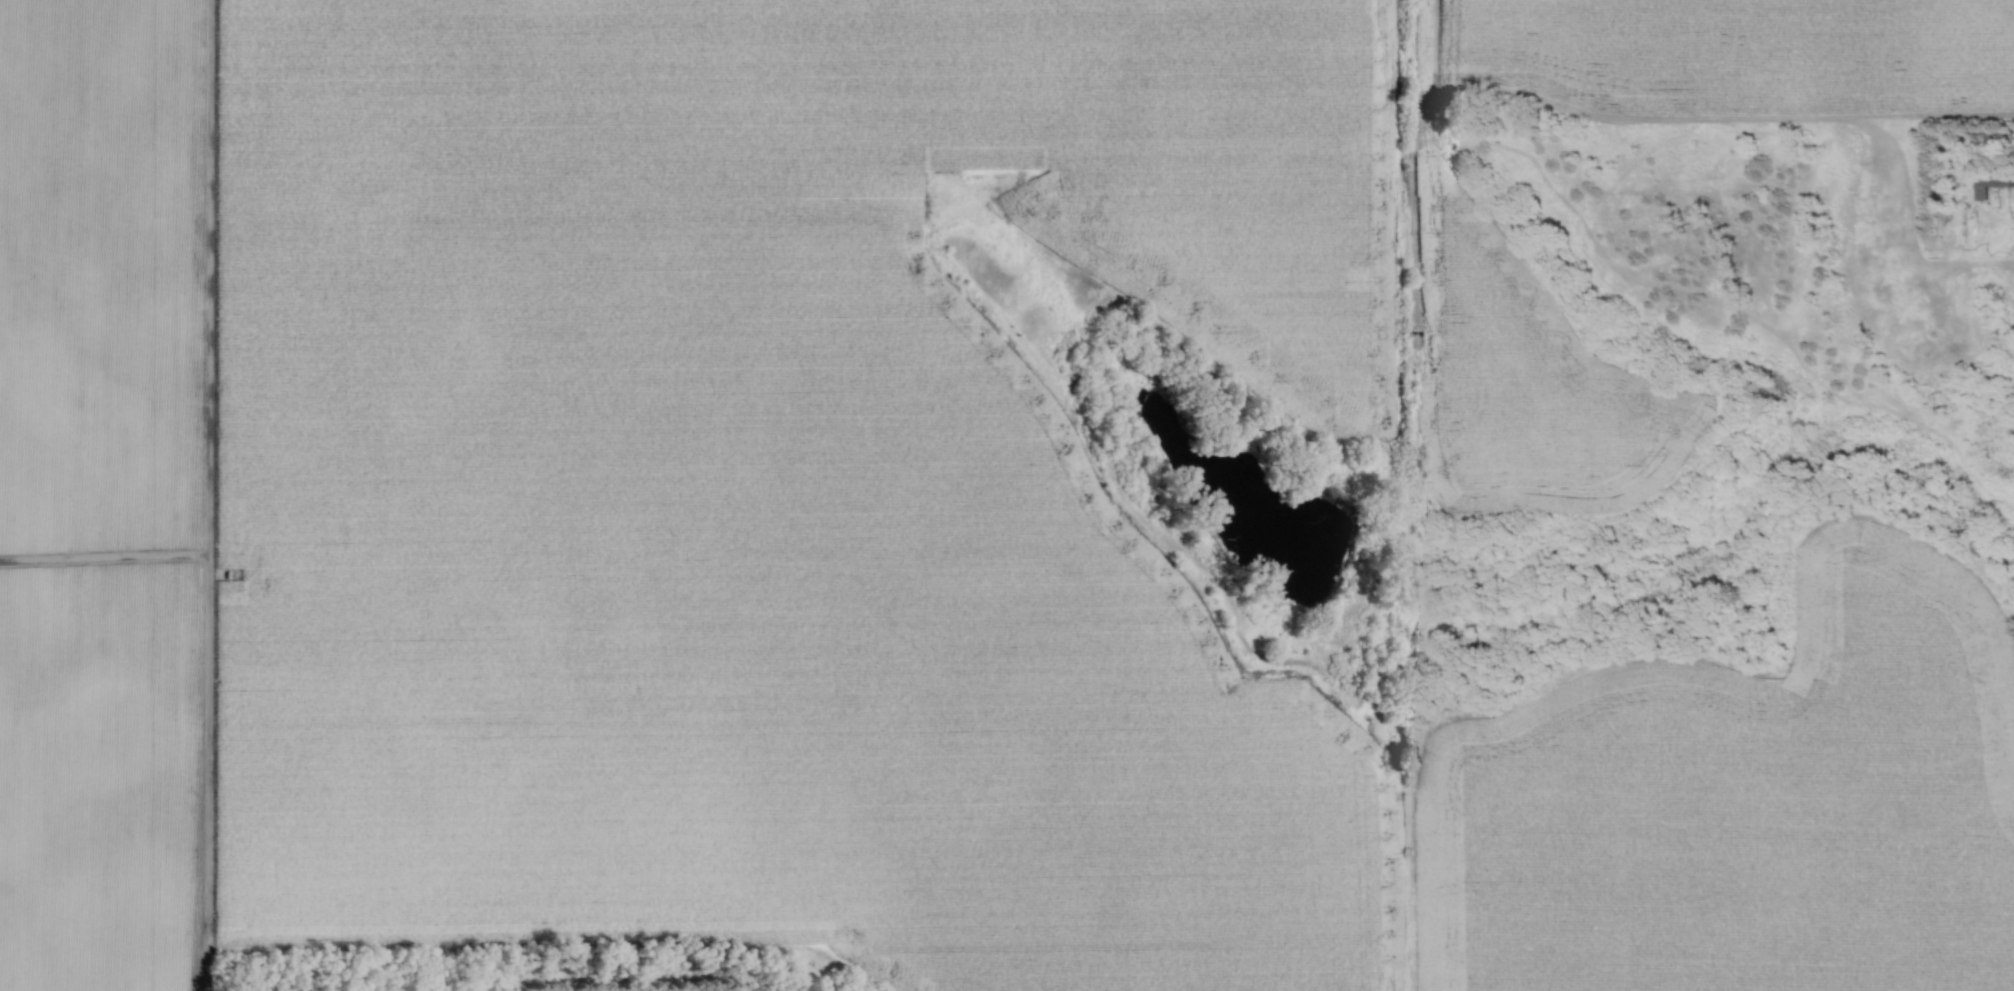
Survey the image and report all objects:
building: (1989, 181)

